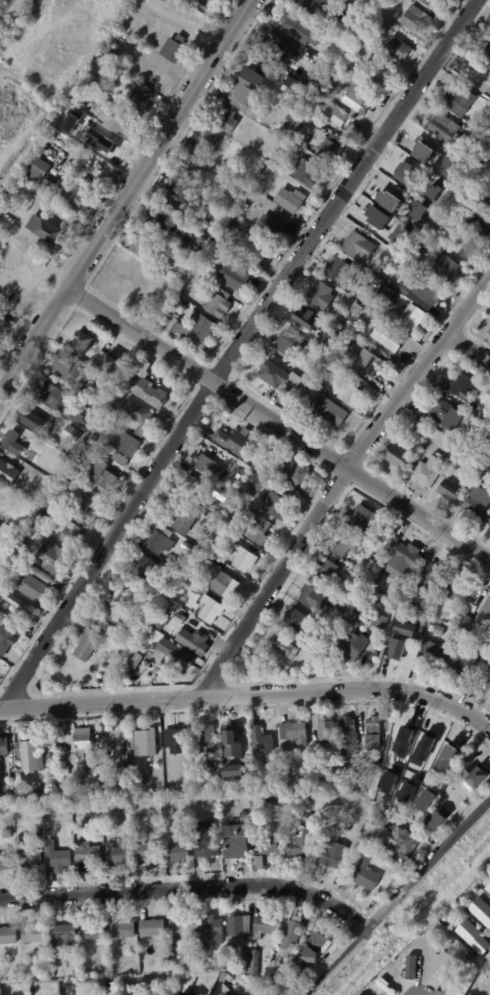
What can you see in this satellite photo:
building: (0, 0)
building: (201, 3)
building: (433, 3)
building: (314, 6)
building: (14, 7)
building: (1, 12)
building: (416, 19)
building: (0, 29)
building: (302, 30)
building: (145, 38)
building: (396, 42)
building: (173, 48)
building: (274, 49)
building: (319, 49)
building: (110, 50)
building: (487, 54)
building: (104, 62)
building: (92, 71)
building: (256, 71)
building: (154, 74)
building: (299, 76)
building: (312, 80)
building: (86, 85)
building: (256, 89)
building: (325, 90)
building: (241, 93)
building: (79, 96)
building: (140, 98)
building: (316, 99)
building: (460, 101)
building: (359, 105)
building: (290, 117)
building: (120, 118)
building: (226, 120)
building: (65, 121)
building: (283, 128)
building: (445, 128)
building: (338, 130)
building: (208, 142)
building: (101, 146)
building: (488, 147)
building: (330, 148)
building: (44, 155)
building: (439, 160)
building: (488, 164)
building: (224, 166)
building: (38, 170)
building: (191, 171)
building: (306, 172)
building: (407, 175)
building: (290, 180)
building: (179, 182)
building: (49, 184)
building: (21, 187)
building: (72, 195)
road: (124, 195)
building: (174, 195)
building: (389, 196)
building: (486, 197)
building: (290, 200)
building: (16, 206)
building: (209, 212)
building: (418, 212)
building: (372, 219)
building: (157, 221)
building: (475, 225)
building: (271, 227)
building: (45, 230)
building: (401, 234)
building: (202, 239)
building: (185, 243)
building: (142, 244)
building: (359, 246)
building: (422, 247)
building: (470, 248)
building: (254, 253)
building: (394, 260)
building: (403, 267)
building: (166, 268)
building: (185, 269)
building: (448, 269)
building: (337, 271)
building: (235, 275)
building: (100, 288)
building: (421, 292)
building: (322, 295)
building: (219, 303)
building: (357, 309)
building: (366, 316)
building: (411, 316)
building: (69, 318)
building: (306, 319)
building: (2, 324)
building: (202, 331)
building: (488, 333)
building: (388, 338)
building: (351, 340)
building: (82, 343)
building: (290, 345)
building: (346, 347)
road: (237, 349)
road: (467, 349)
building: (339, 355)
building: (109, 364)
building: (368, 364)
building: (67, 366)
building: (141, 367)
building: (276, 375)
building: (128, 382)
building: (463, 387)
building: (49, 395)
building: (151, 395)
building: (354, 396)
building: (489, 402)
building: (330, 410)
building: (109, 412)
building: (137, 412)
building: (442, 412)
building: (71, 414)
building: (482, 414)
building: (32, 421)
road: (278, 424)
building: (141, 432)
building: (71, 434)
building: (489, 435)
building: (91, 442)
building: (234, 442)
building: (14, 443)
building: (125, 447)
building: (255, 449)
building: (399, 457)
building: (206, 464)
building: (75, 465)
building: (261, 467)
building: (486, 468)
building: (429, 470)
building: (7, 472)
building: (299, 476)
building: (103, 477)
road: (340, 480)
building: (256, 482)
building: (188, 487)
building: (451, 491)
building: (245, 495)
building: (477, 501)
building: (277, 507)
building: (217, 508)
building: (249, 510)
building: (43, 514)
building: (204, 515)
building: (186, 521)
building: (38, 522)
building: (363, 522)
building: (489, 525)
building: (31, 530)
building: (259, 530)
building: (222, 534)
building: (71, 535)
building: (6, 536)
building: (16, 536)
building: (158, 540)
building: (201, 542)
building: (343, 547)
building: (388, 548)
building: (188, 549)
building: (49, 558)
building: (187, 558)
building: (207, 558)
building: (244, 561)
building: (404, 563)
building: (17, 564)
building: (143, 567)
building: (326, 570)
building: (436, 572)
building: (39, 574)
building: (185, 582)
building: (360, 583)
building: (224, 585)
building: (33, 588)
building: (2, 589)
building: (458, 590)
building: (118, 596)
building: (380, 597)
building: (12, 598)
building: (313, 600)
building: (209, 610)
building: (4, 611)
building: (485, 615)
building: (111, 620)
building: (180, 620)
building: (294, 620)
building: (364, 620)
building: (380, 622)
building: (466, 623)
building: (427, 625)
building: (439, 631)
building: (191, 639)
building: (6, 641)
building: (282, 645)
building: (87, 646)
building: (350, 647)
building: (171, 654)
building: (394, 656)
building: (433, 656)
building: (486, 657)
building: (136, 659)
building: (461, 665)
road: (248, 693)
building: (402, 729)
building: (295, 732)
building: (327, 733)
building: (373, 733)
building: (349, 736)
building: (231, 737)
building: (206, 738)
building: (83, 740)
building: (175, 740)
building: (145, 742)
building: (262, 745)
building: (424, 745)
building: (3, 746)
building: (450, 752)
building: (465, 752)
building: (31, 755)
building: (390, 763)
building: (370, 768)
building: (19, 770)
building: (212, 770)
building: (329, 774)
building: (476, 774)
building: (28, 780)
building: (141, 780)
building: (287, 782)
building: (124, 786)
building: (269, 793)
building: (321, 794)
building: (34, 796)
building: (211, 799)
building: (56, 806)
building: (124, 806)
building: (46, 807)
building: (243, 815)
building: (437, 820)
building: (186, 830)
building: (6, 833)
building: (398, 837)
building: (70, 840)
building: (299, 840)
building: (207, 841)
building: (236, 841)
building: (263, 842)
building: (147, 851)
building: (87, 853)
building: (177, 853)
building: (120, 854)
building: (333, 854)
building: (28, 857)
building: (57, 857)
building: (6, 861)
building: (258, 862)
building: (365, 870)
building: (481, 880)
road: (189, 887)
building: (488, 888)
building: (476, 889)
road: (397, 896)
building: (482, 911)
building: (447, 919)
building: (238, 924)
building: (266, 926)
building: (152, 928)
building: (120, 929)
building: (93, 930)
building: (183, 931)
building: (210, 932)
building: (63, 933)
building: (34, 934)
building: (8, 935)
building: (291, 936)
building: (474, 937)
building: (237, 939)
building: (171, 943)
building: (313, 947)
building: (488, 956)
building: (255, 957)
building: (271, 957)
building: (243, 962)
building: (411, 964)
building: (444, 965)
building: (470, 966)
building: (254, 971)
building: (86, 973)
building: (62, 975)
building: (224, 977)
building: (295, 979)
building: (274, 980)
building: (469, 982)
building: (95, 985)
building: (381, 986)
building: (222, 990)
building: (184, 992)
building: (489, 992)
building: (149, 993)
building: (244, 994)
building: (363, 994)

